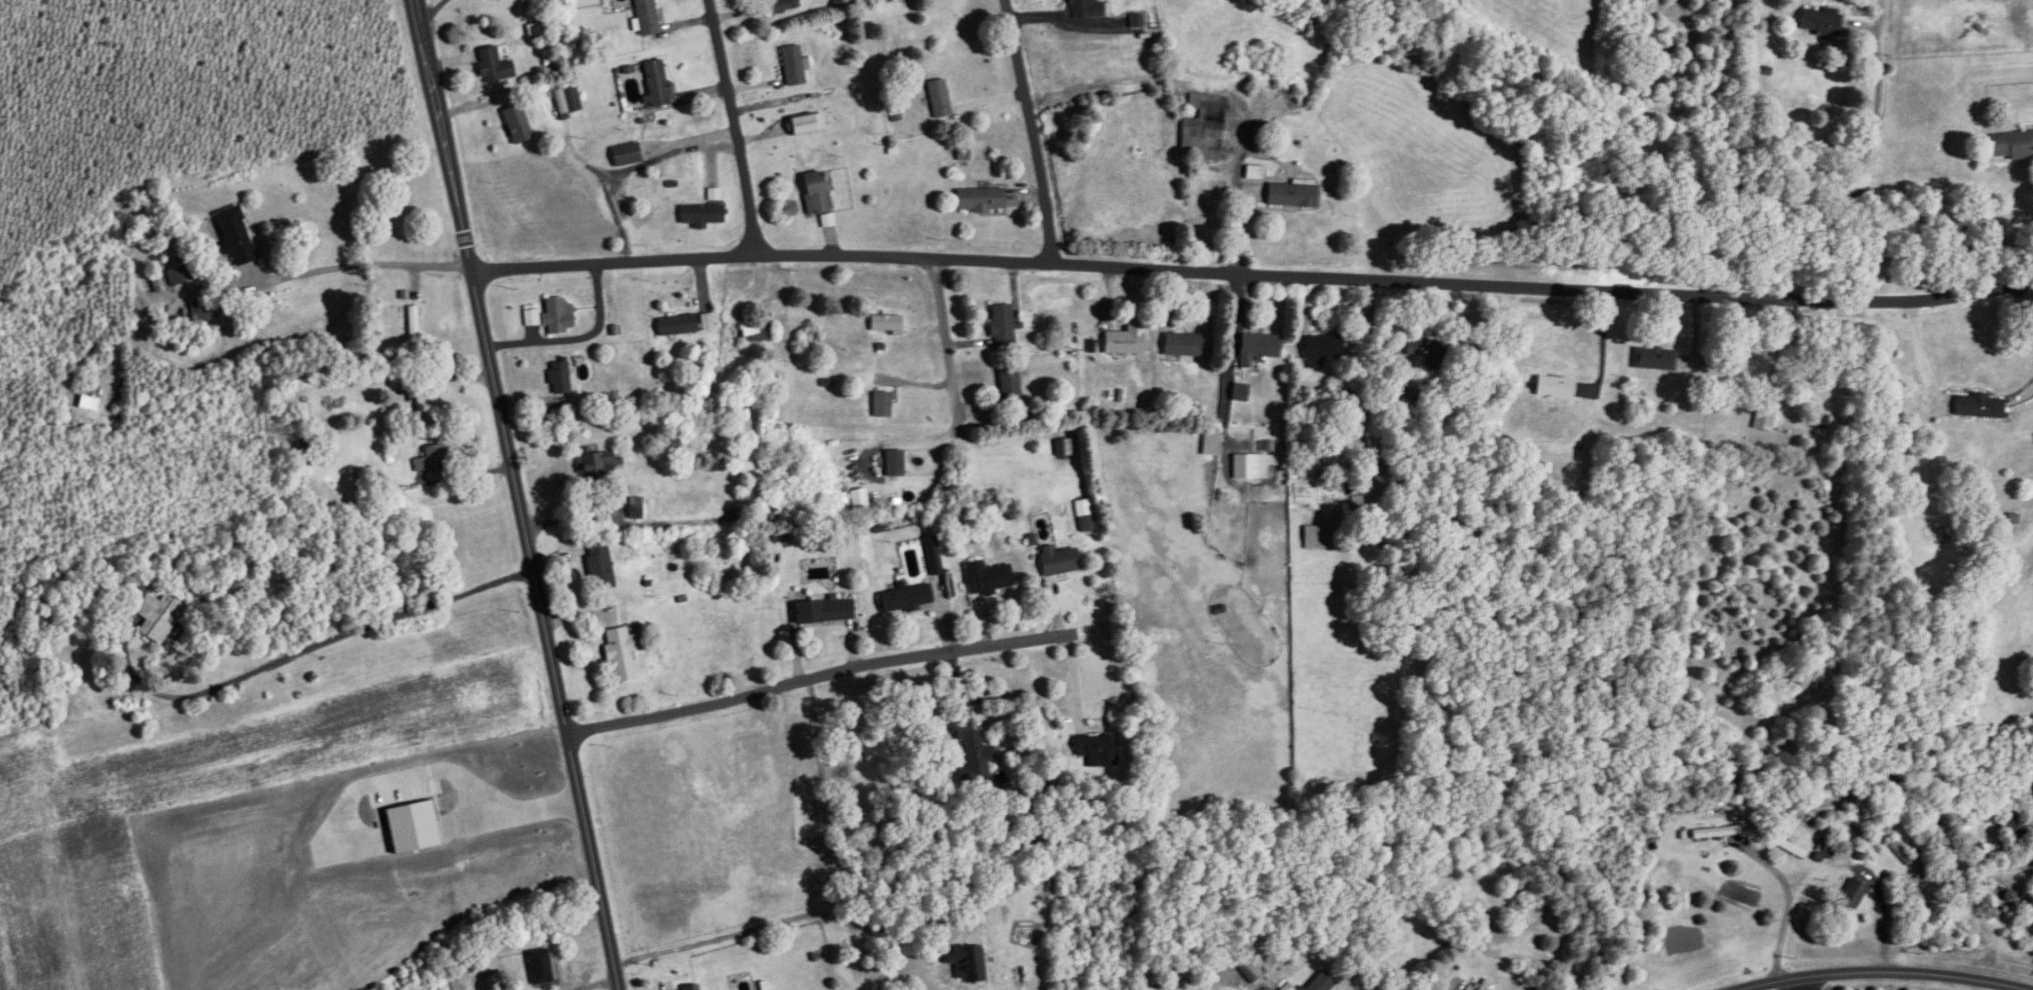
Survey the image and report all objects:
building: (785, 5)
building: (1085, 8)
building: (646, 17)
building: (1135, 21)
building: (1818, 21)
building: (494, 65)
building: (792, 65)
building: (655, 83)
building: (938, 98)
building: (566, 99)
building: (516, 124)
building: (801, 125)
road: (734, 127)
road: (1028, 131)
building: (1199, 131)
building: (2011, 144)
building: (625, 154)
road: (630, 166)
road: (1851, 173)
building: (814, 192)
building: (1290, 194)
building: (979, 199)
building: (701, 215)
building: (235, 236)
road: (358, 259)
road: (1253, 273)
building: (179, 274)
road: (2024, 305)
building: (201, 313)
building: (557, 316)
building: (530, 318)
building: (412, 321)
building: (706, 321)
building: (885, 323)
building: (676, 325)
building: (1001, 325)
building: (757, 333)
road: (574, 337)
building: (1124, 340)
building: (1182, 345)
building: (1258, 347)
road: (1601, 347)
building: (1428, 349)
building: (1321, 350)
road: (1917, 350)
building: (1653, 359)
building: (559, 378)
building: (1554, 387)
building: (1009, 391)
road: (948, 394)
building: (1405, 397)
building: (1348, 400)
building: (87, 403)
building: (881, 404)
building: (1977, 406)
building: (1763, 419)
building: (760, 424)
building: (430, 459)
building: (893, 463)
building: (1251, 465)
building: (599, 466)
building: (1380, 491)
building: (760, 493)
road: (516, 495)
road: (627, 522)
building: (1085, 523)
building: (1314, 537)
building: (1058, 561)
building: (599, 567)
building: (987, 578)
building: (905, 599)
building: (824, 611)
building: (160, 615)
road: (328, 630)
building: (620, 654)
road: (818, 677)
road: (1073, 683)
building: (1096, 749)
building: (973, 752)
building: (2013, 824)
building: (1035, 842)
building: (1982, 860)
road: (1769, 866)
road: (1827, 866)
building: (1851, 895)
road: (774, 922)
building: (966, 962)
building: (487, 965)
building: (540, 966)
road: (1881, 970)
building: (1320, 982)
road: (1786, 984)
building: (1482, 985)
building: (691, 987)

